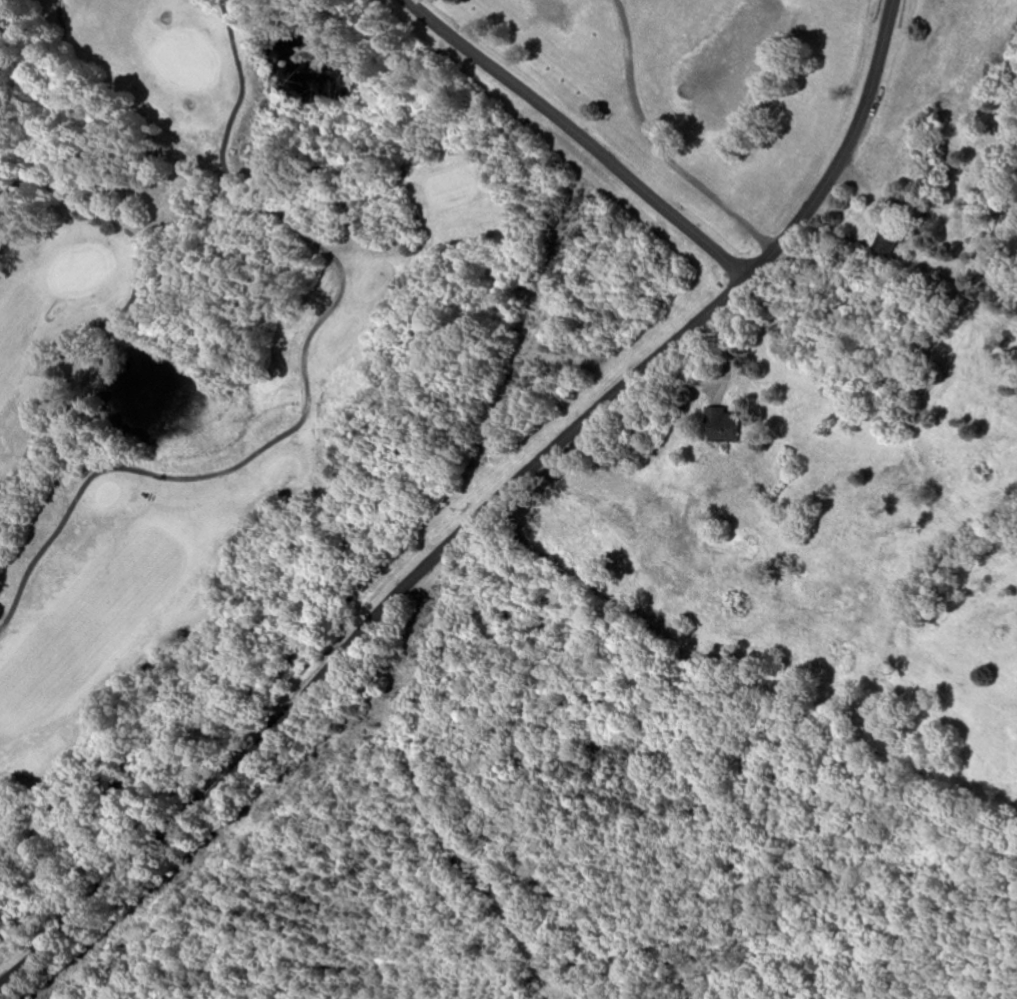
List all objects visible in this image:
road: (578, 136)
building: (887, 241)
park: (78, 270)
park: (225, 368)
building: (722, 426)
road: (481, 512)
park: (372, 583)

